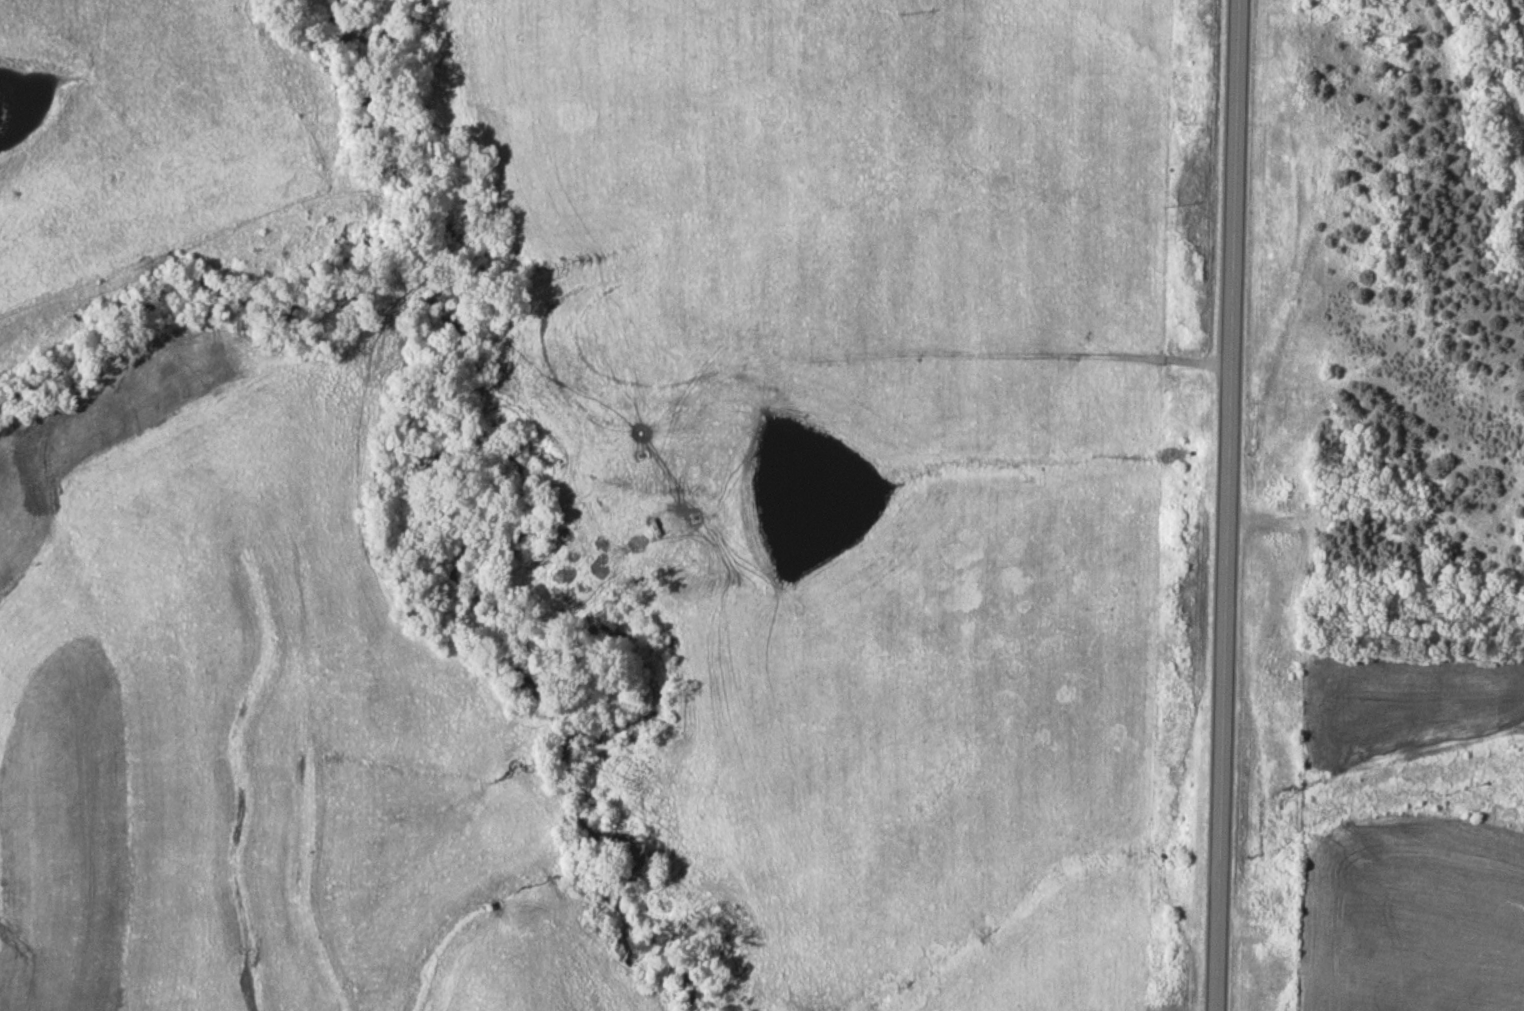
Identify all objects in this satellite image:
road: (1228, 505)

